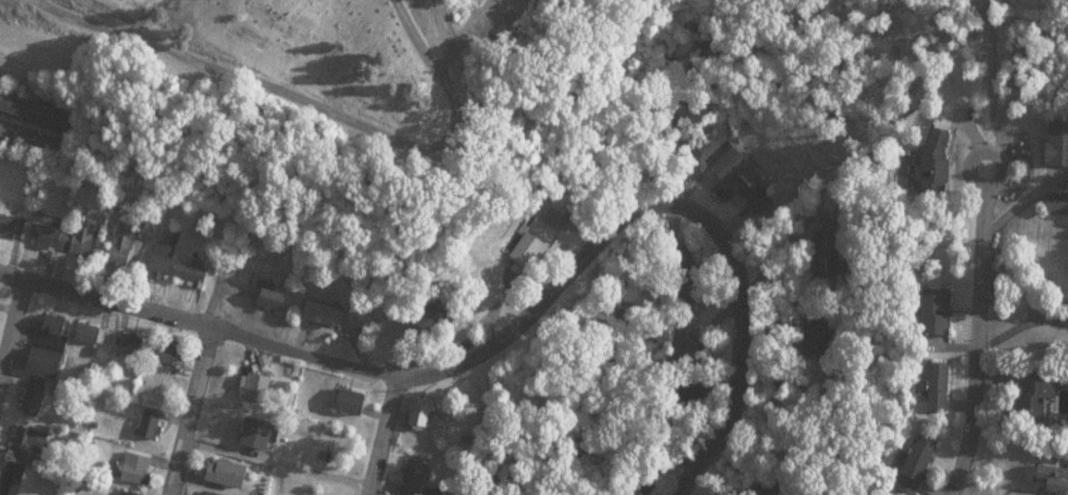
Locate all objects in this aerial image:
park: (306, 59)
road: (313, 104)
building: (38, 116)
building: (1057, 140)
building: (934, 160)
road: (965, 168)
building: (746, 195)
building: (1056, 202)
road: (677, 205)
building: (12, 233)
building: (47, 239)
building: (83, 243)
building: (121, 245)
building: (533, 250)
building: (821, 253)
building: (194, 278)
building: (273, 306)
building: (937, 310)
building: (325, 319)
road: (199, 321)
building: (437, 323)
road: (1017, 323)
road: (13, 327)
building: (92, 340)
building: (812, 340)
road: (972, 342)
building: (133, 351)
building: (172, 366)
building: (47, 369)
building: (937, 386)
building: (261, 394)
building: (1034, 399)
building: (35, 403)
building: (353, 407)
road: (188, 409)
building: (423, 420)
building: (152, 429)
road: (385, 433)
building: (155, 436)
building: (260, 440)
building: (30, 446)
building: (917, 461)
road: (276, 464)
building: (138, 474)
building: (1054, 478)
building: (229, 479)
building: (416, 481)
building: (14, 482)
building: (129, 493)
building: (213, 493)

